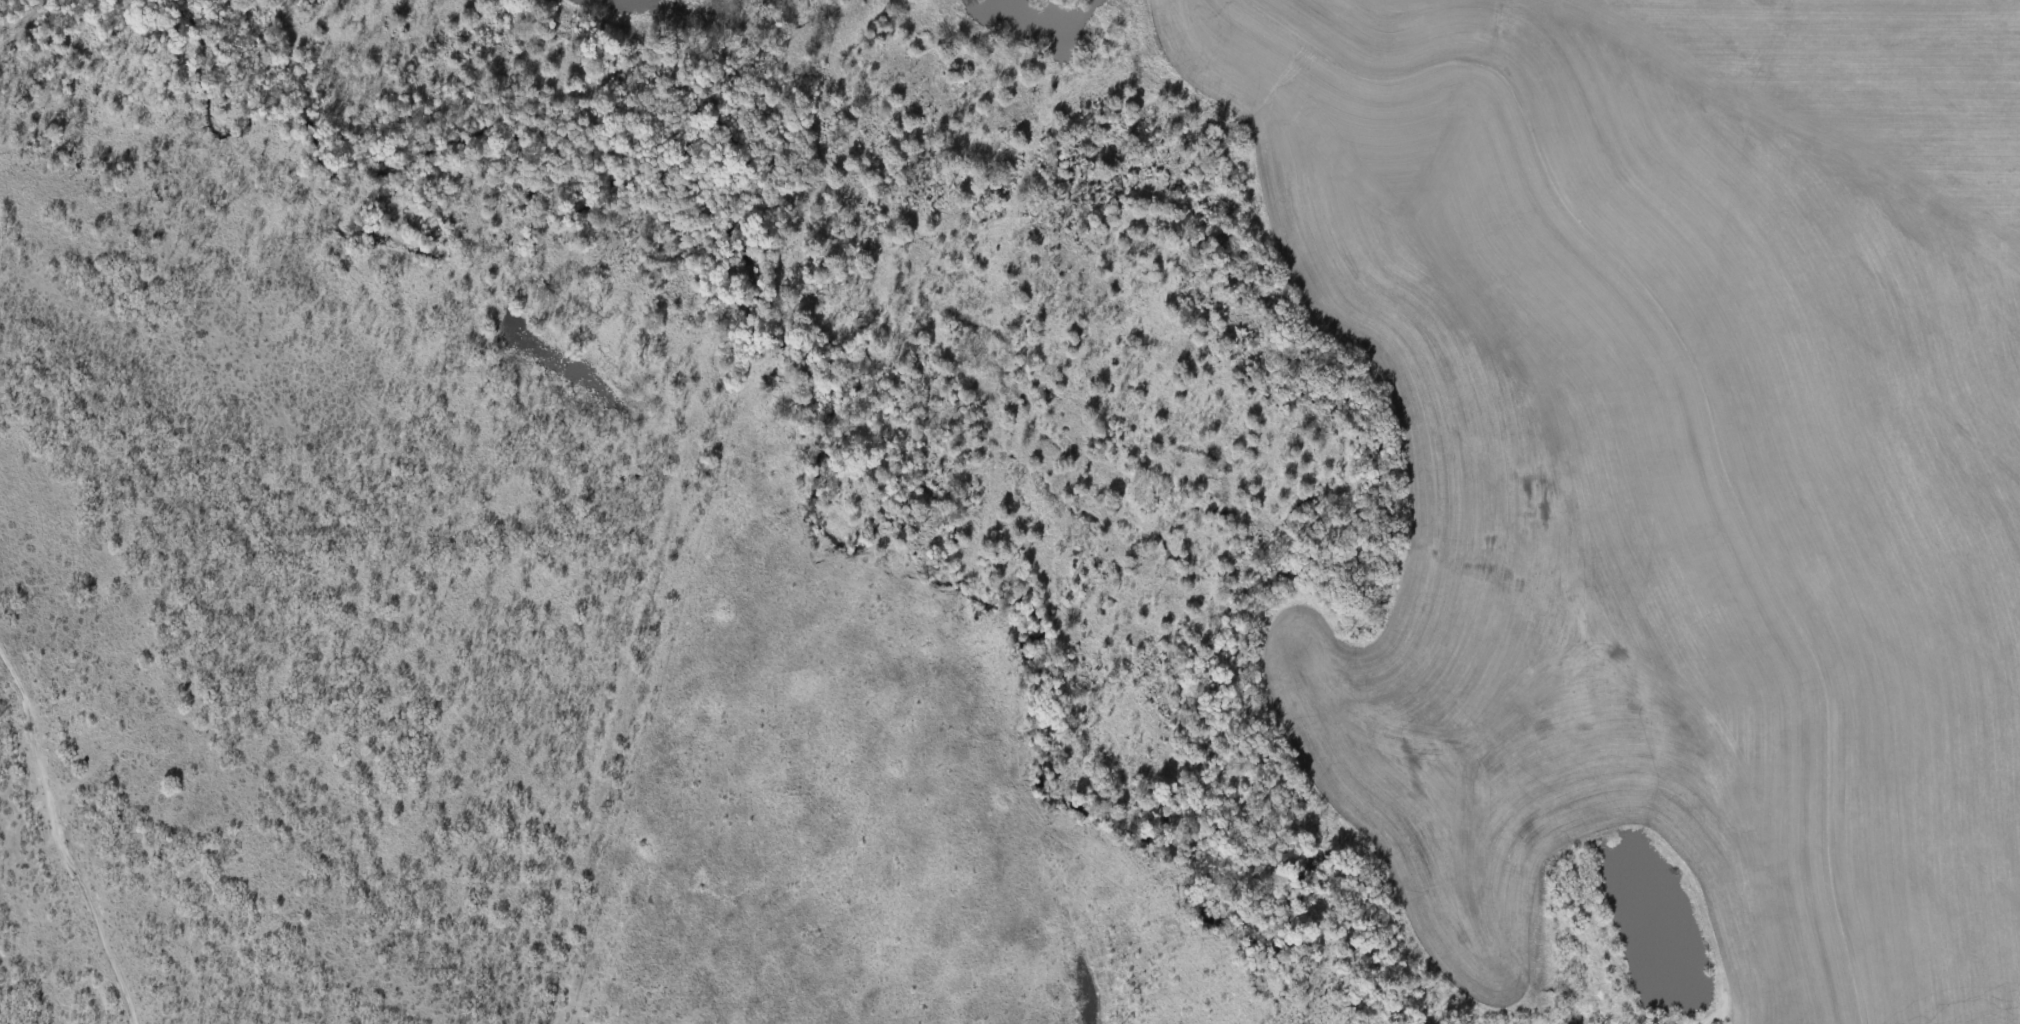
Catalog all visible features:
road: (45, 877)

